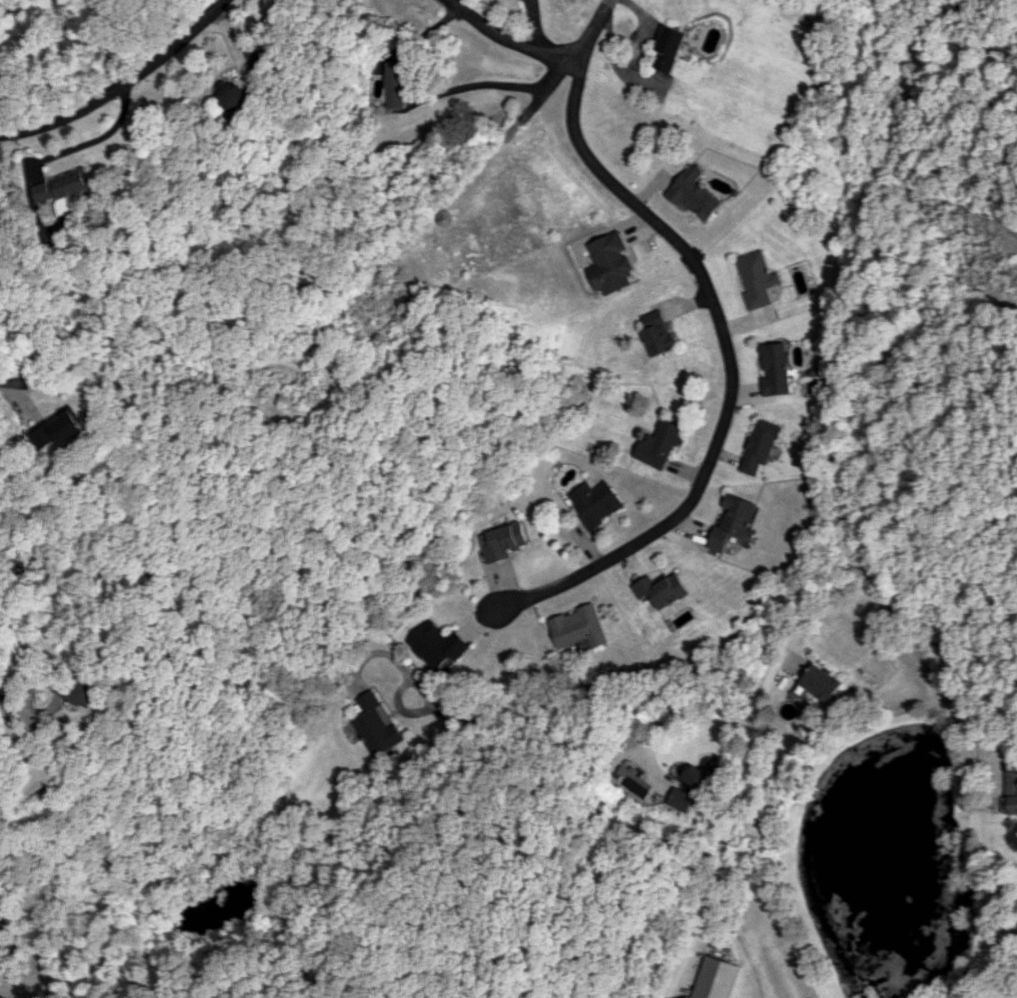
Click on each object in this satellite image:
road: (597, 26)
road: (513, 38)
building: (670, 48)
road: (121, 84)
building: (400, 85)
road: (510, 86)
building: (231, 93)
road: (96, 139)
building: (66, 187)
building: (695, 193)
building: (611, 263)
building: (758, 279)
building: (657, 332)
road: (732, 364)
building: (776, 368)
road: (14, 382)
building: (60, 430)
building: (660, 444)
building: (761, 446)
building: (595, 502)
road: (849, 509)
building: (733, 520)
building: (499, 542)
building: (661, 589)
building: (578, 627)
building: (437, 646)
building: (819, 683)
road: (636, 690)
building: (89, 692)
road: (697, 715)
building: (375, 725)
road: (958, 735)
road: (982, 746)
road: (31, 759)
building: (703, 774)
building: (637, 783)
building: (1006, 787)
building: (680, 798)
building: (714, 978)

